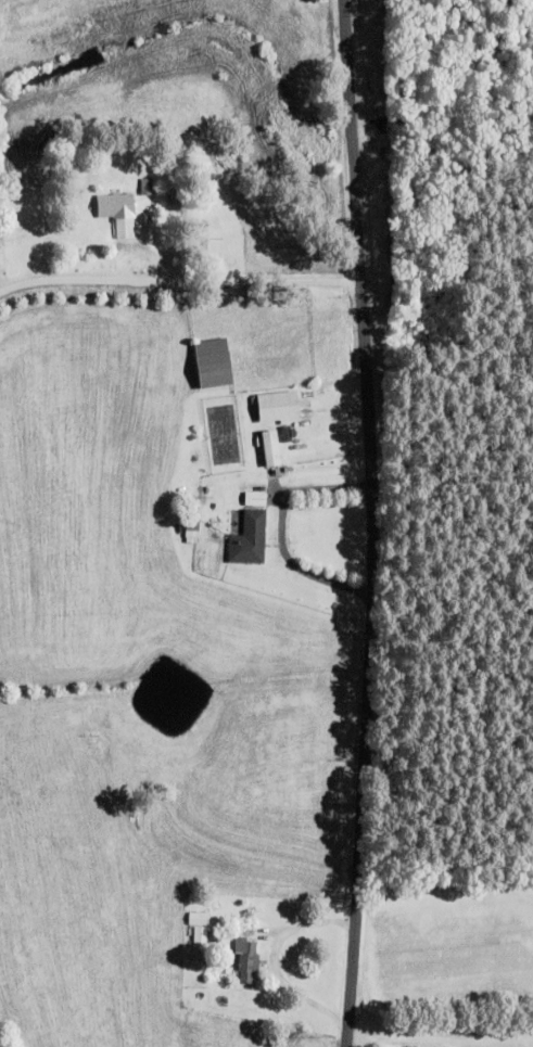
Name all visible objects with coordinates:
building: (119, 213)
road: (178, 278)
building: (214, 362)
building: (271, 448)
road: (375, 523)
building: (251, 531)
building: (198, 918)
building: (248, 960)

